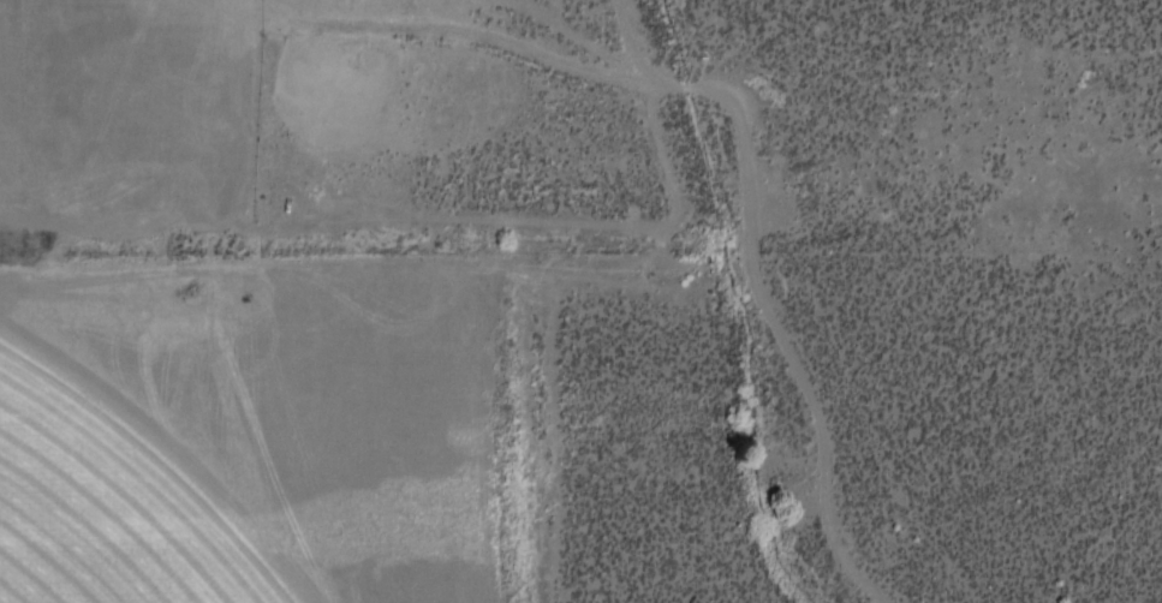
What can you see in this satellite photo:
road: (746, 286)
crop: (225, 346)

